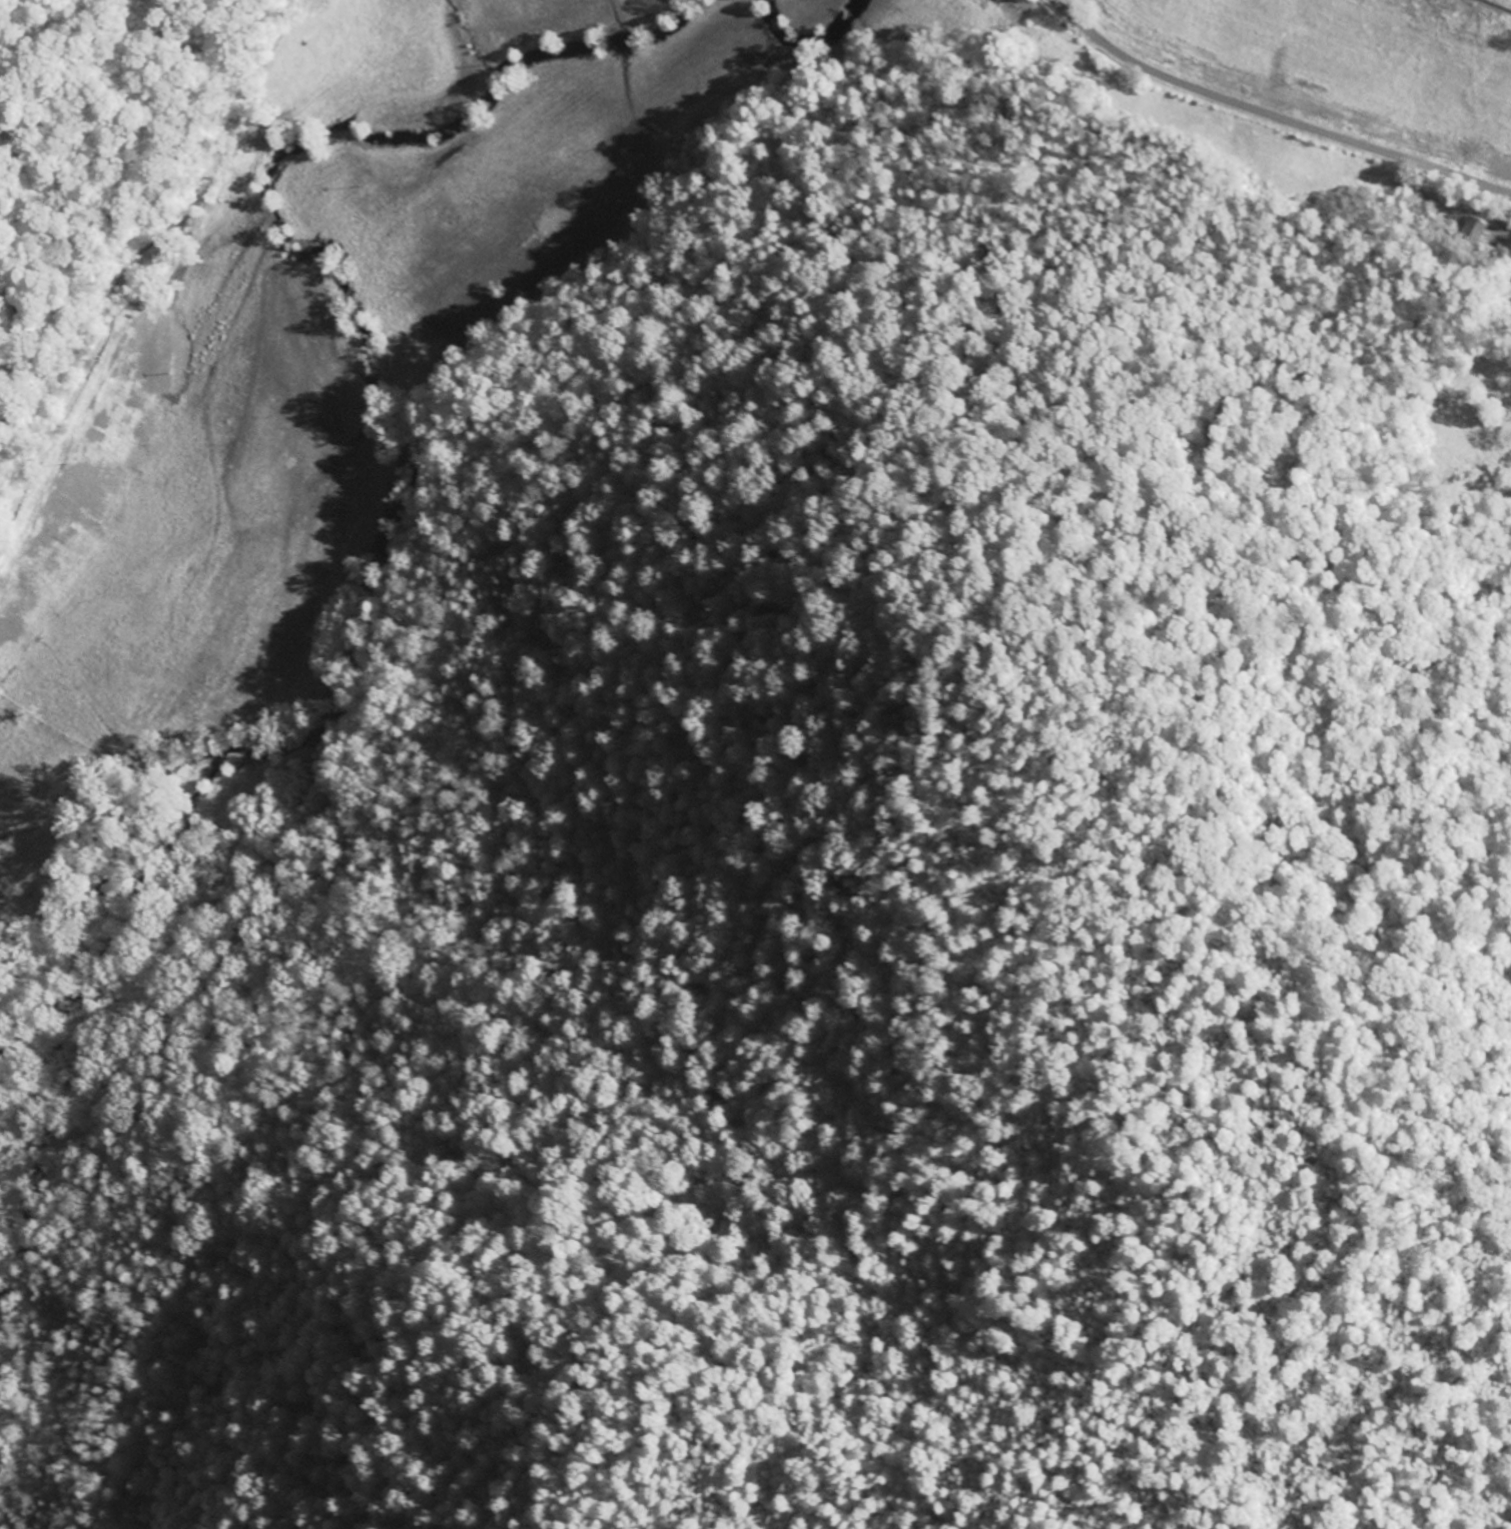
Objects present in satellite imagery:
road: (1273, 113)
road: (127, 258)

